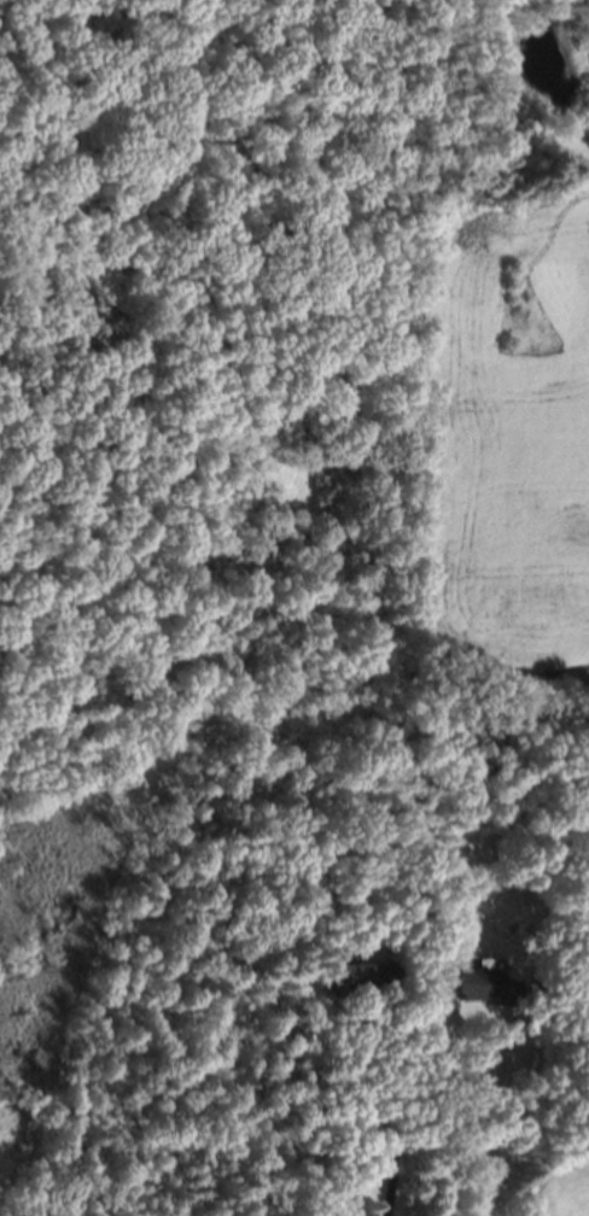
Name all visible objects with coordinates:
road: (179, 282)
park: (222, 327)
building: (358, 977)
building: (478, 984)
building: (525, 986)
road: (371, 1109)
road: (494, 1122)

